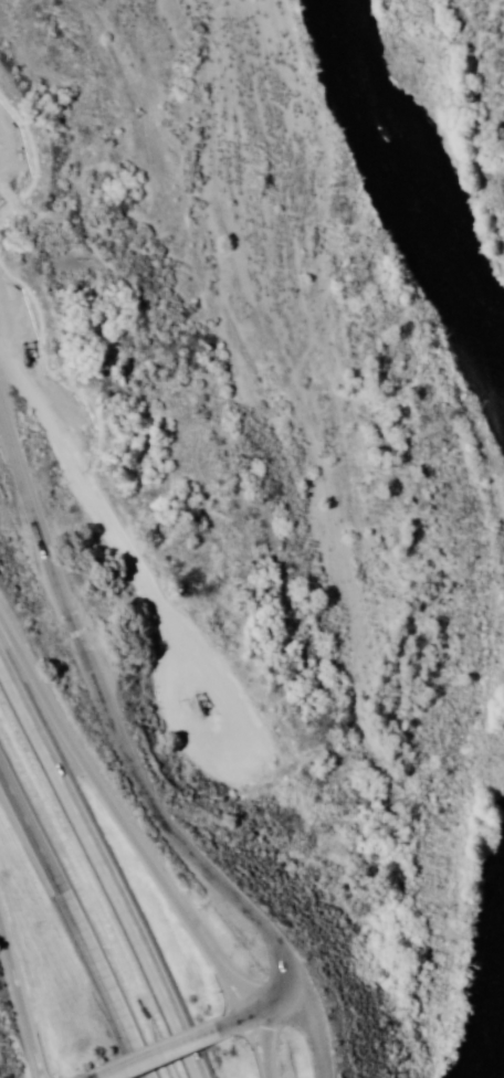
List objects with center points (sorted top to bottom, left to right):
river: (433, 216)
road: (140, 786)
road: (123, 818)
road: (98, 873)
road: (77, 918)
road: (21, 1013)
road: (255, 1013)
road: (254, 1048)
road: (162, 1055)

